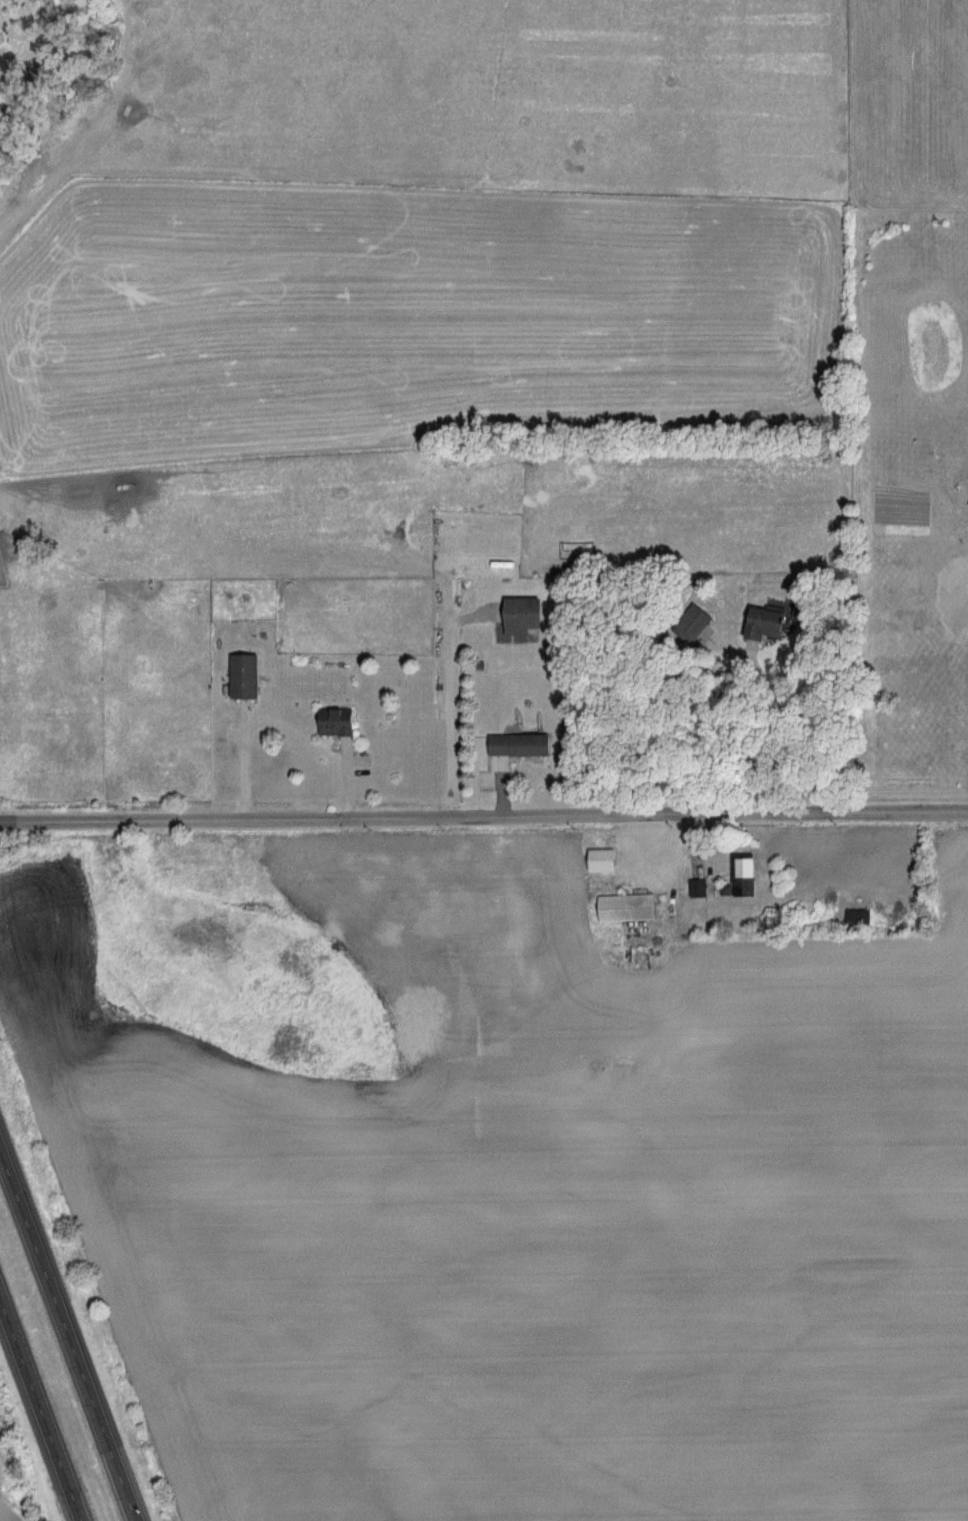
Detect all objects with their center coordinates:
building: (518, 616)
building: (757, 623)
building: (689, 624)
building: (248, 676)
building: (340, 722)
road: (784, 730)
building: (513, 745)
road: (483, 816)
building: (738, 877)
building: (621, 908)
road: (67, 1337)
road: (40, 1410)

